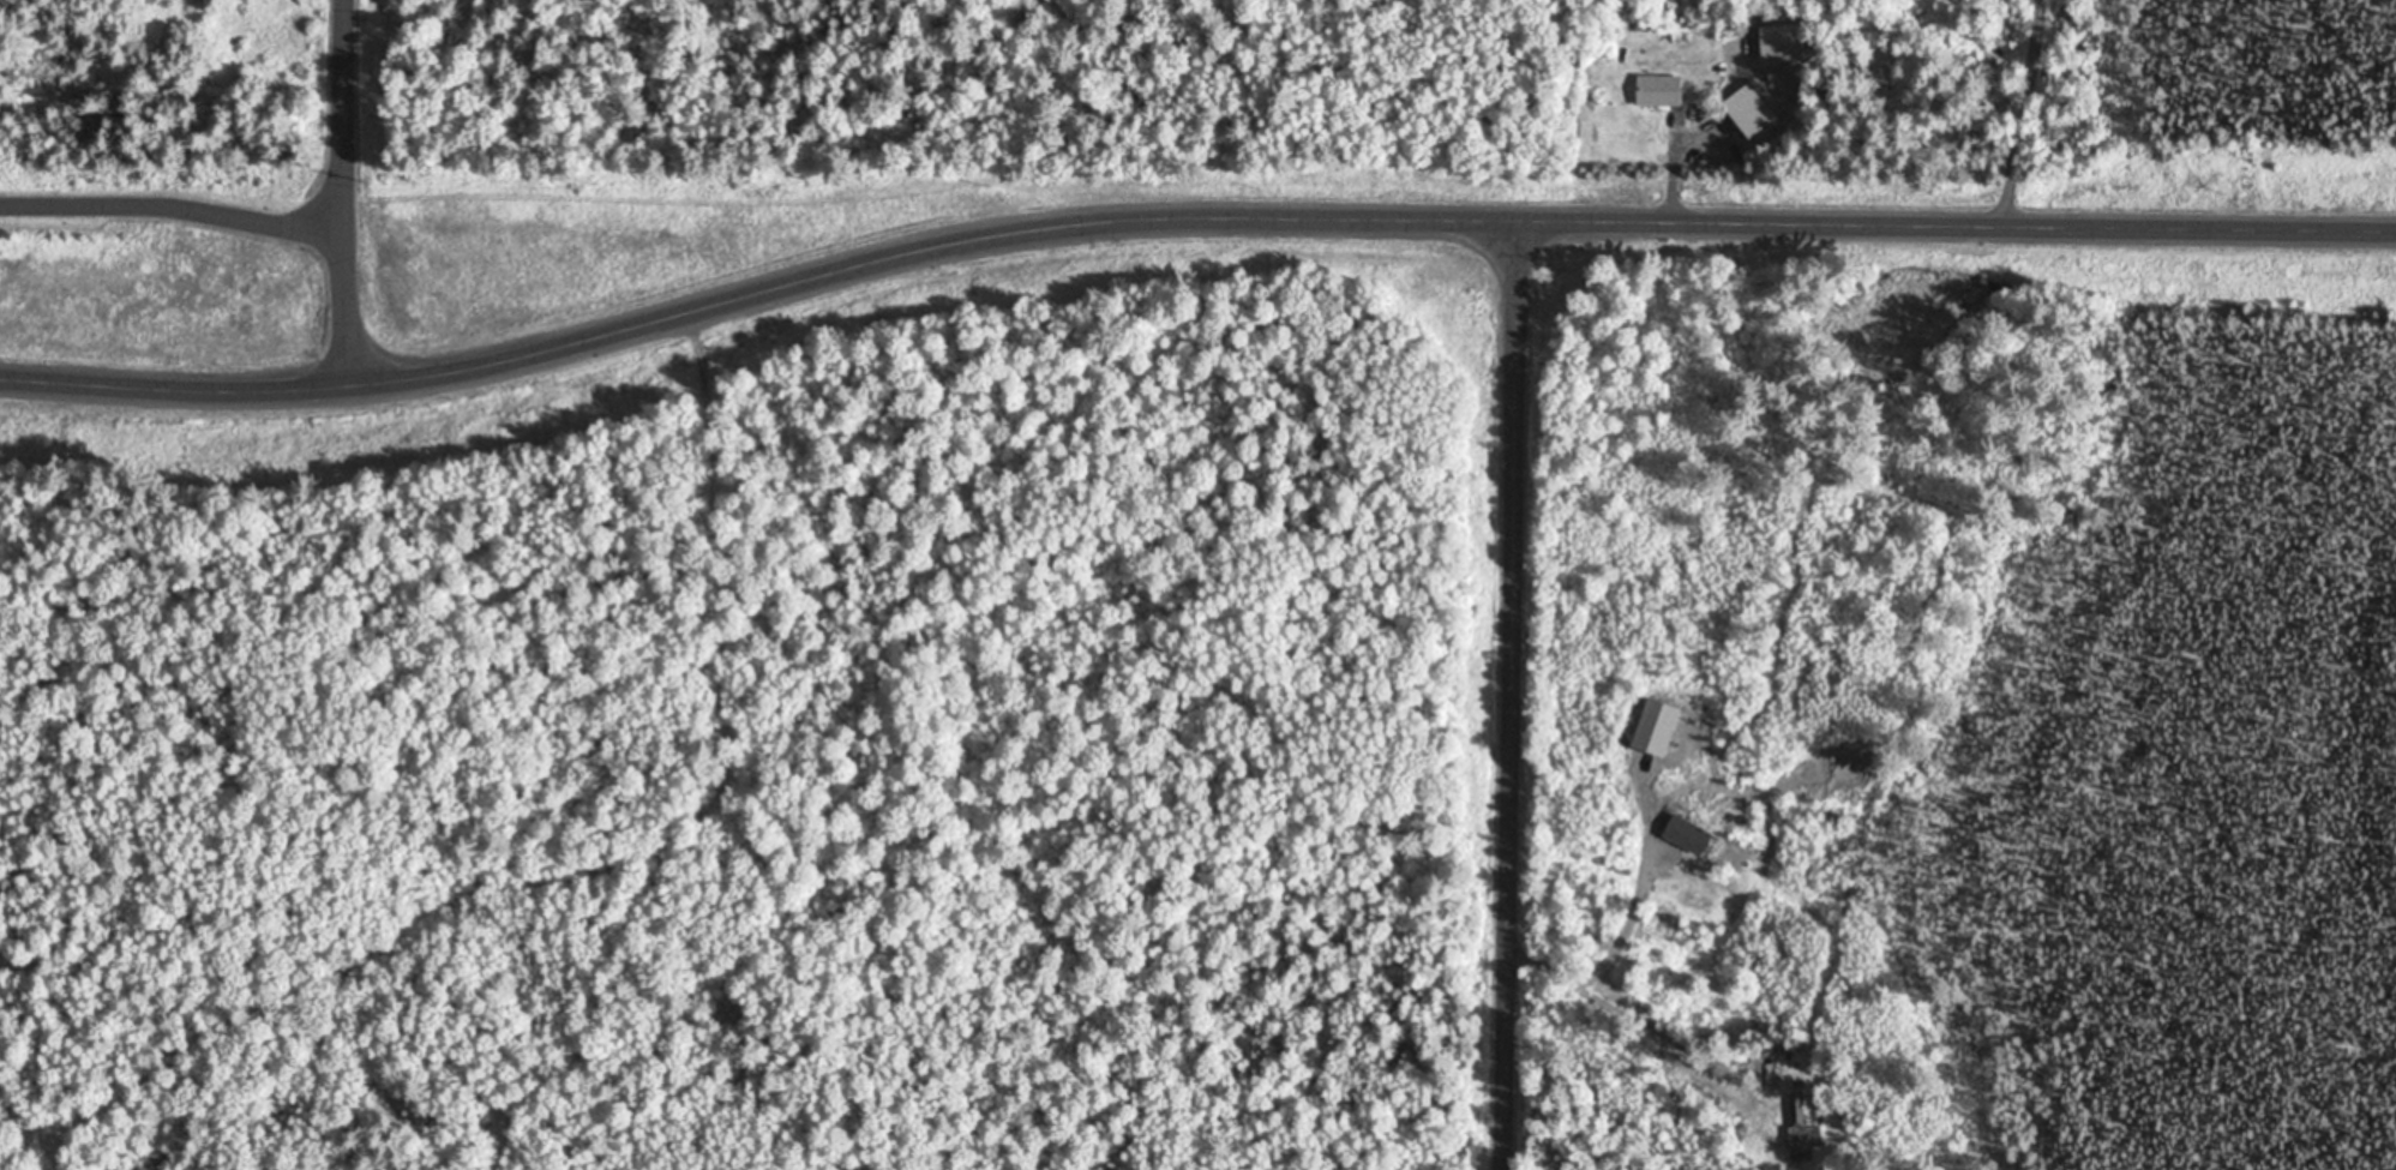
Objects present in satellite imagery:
building: (1657, 91)
road: (342, 191)
road: (173, 205)
road: (1188, 212)
road: (1513, 691)
building: (1800, 1124)

